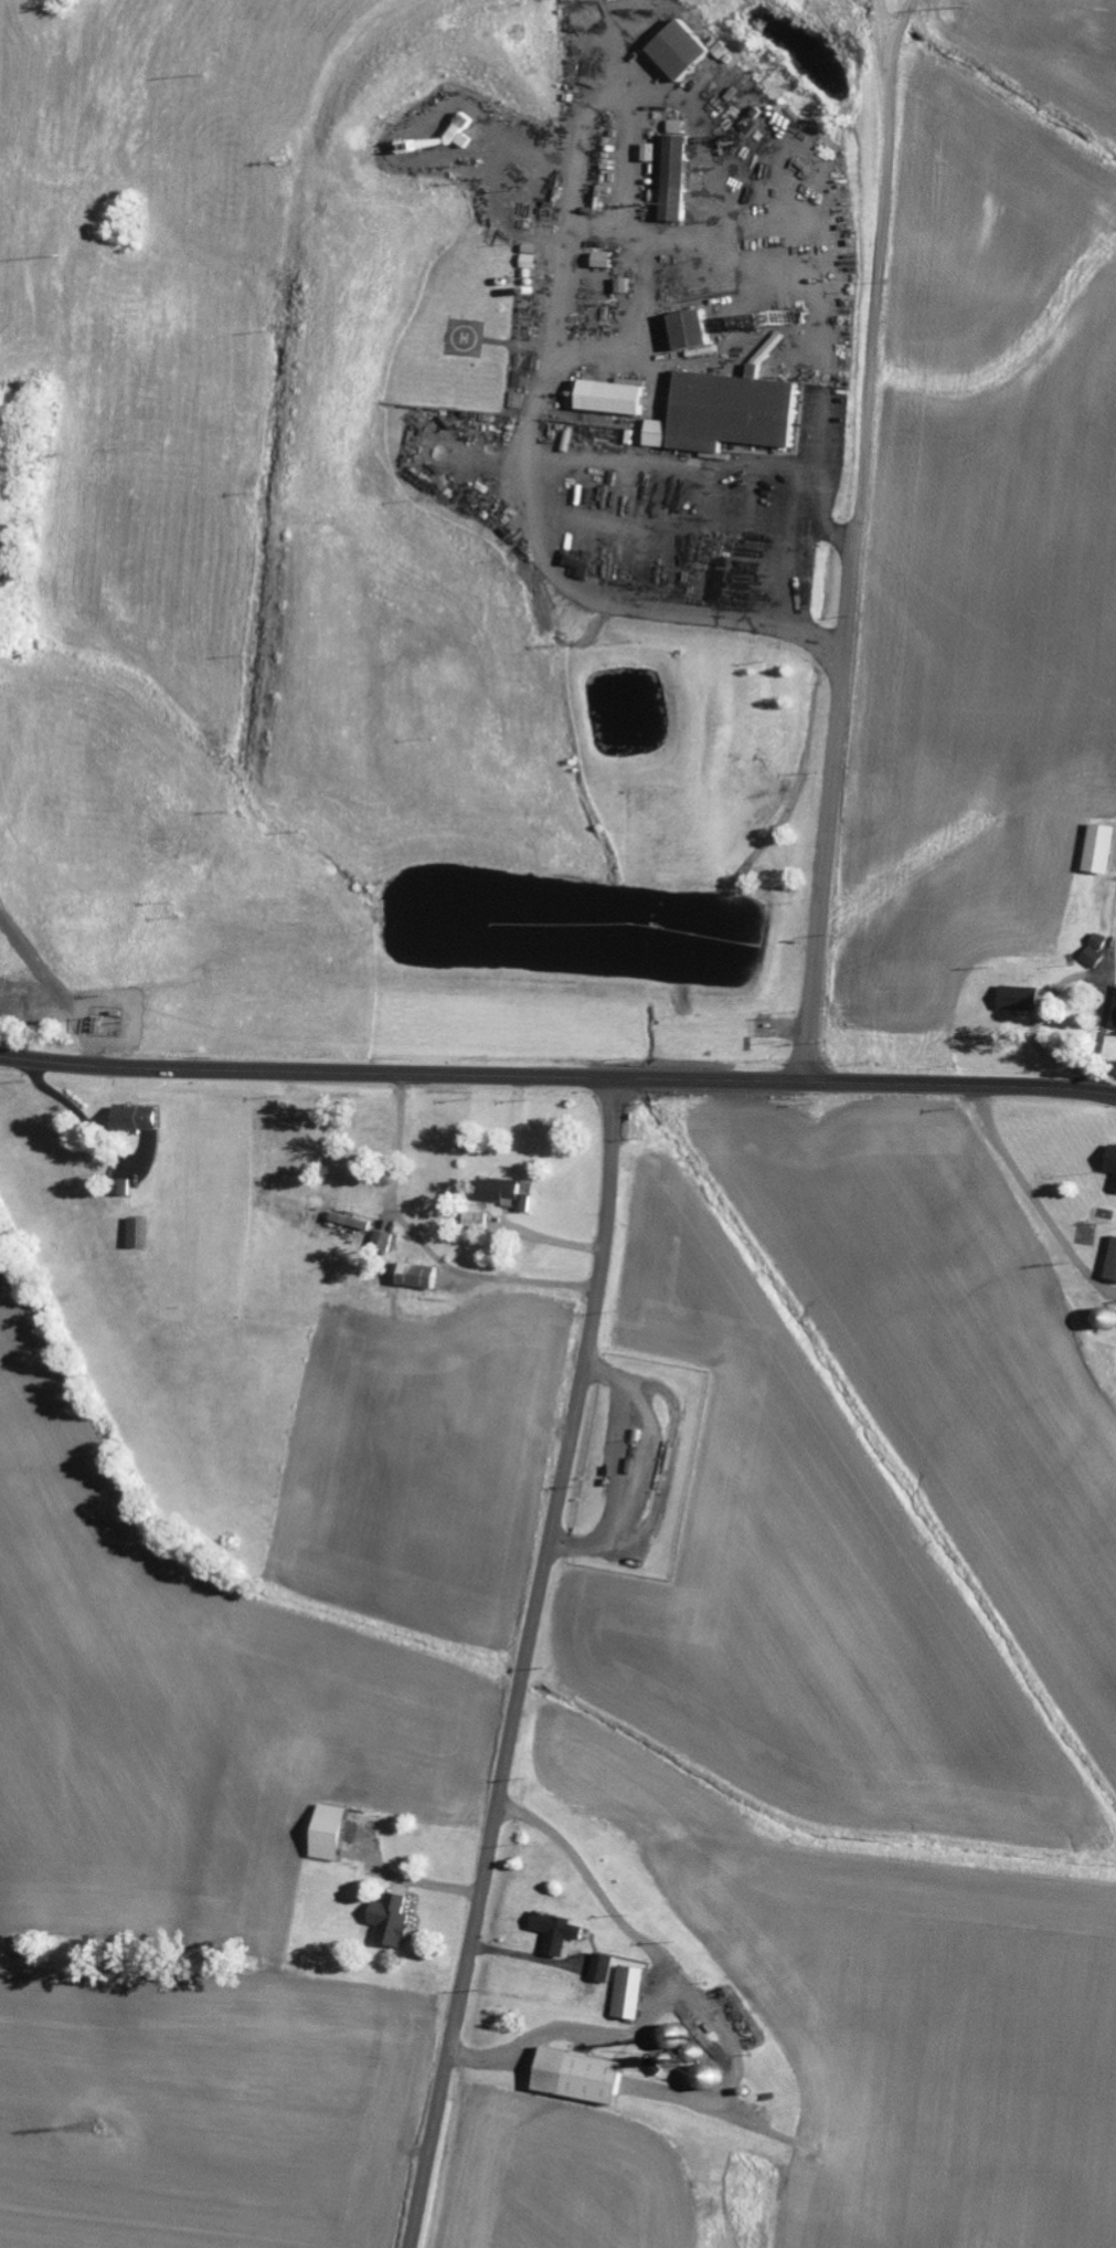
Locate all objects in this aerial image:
building: (692, 49)
building: (463, 135)
building: (653, 151)
building: (679, 179)
building: (608, 260)
building: (626, 285)
building: (697, 329)
building: (620, 398)
building: (734, 413)
road: (859, 541)
building: (1104, 849)
building: (1027, 999)
road: (557, 1077)
building: (147, 1118)
building: (1115, 1169)
building: (509, 1193)
building: (352, 1223)
building: (384, 1241)
building: (425, 1276)
building: (1115, 1279)
road: (527, 1664)
building: (338, 1833)
building: (396, 1920)
building: (564, 1931)
building: (637, 1992)
building: (588, 2076)

